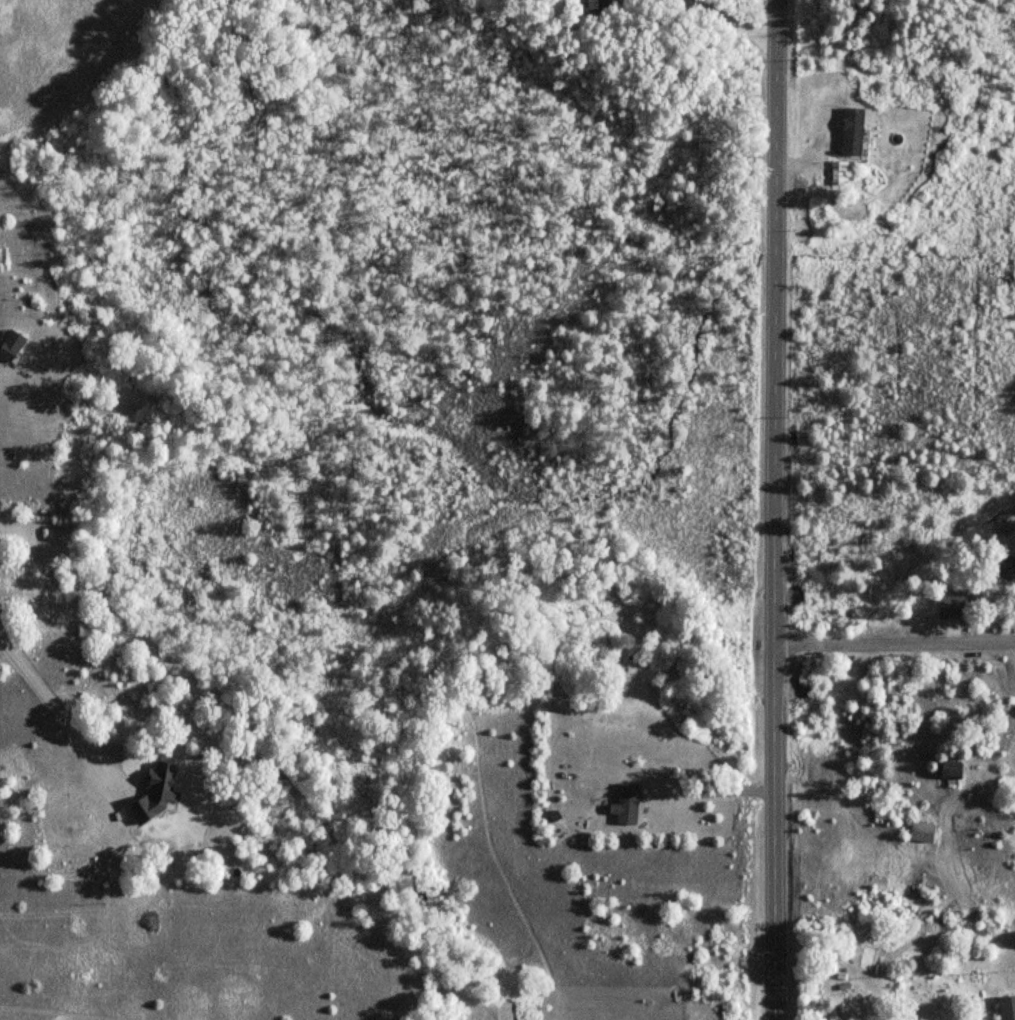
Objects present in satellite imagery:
building: (598, 4)
road: (732, 21)
building: (851, 132)
building: (838, 174)
building: (15, 346)
road: (775, 510)
building: (1003, 567)
road: (894, 646)
road: (42, 692)
building: (946, 770)
road: (714, 791)
building: (630, 806)
building: (920, 833)
road: (1009, 941)
building: (899, 991)
building: (1006, 1008)

